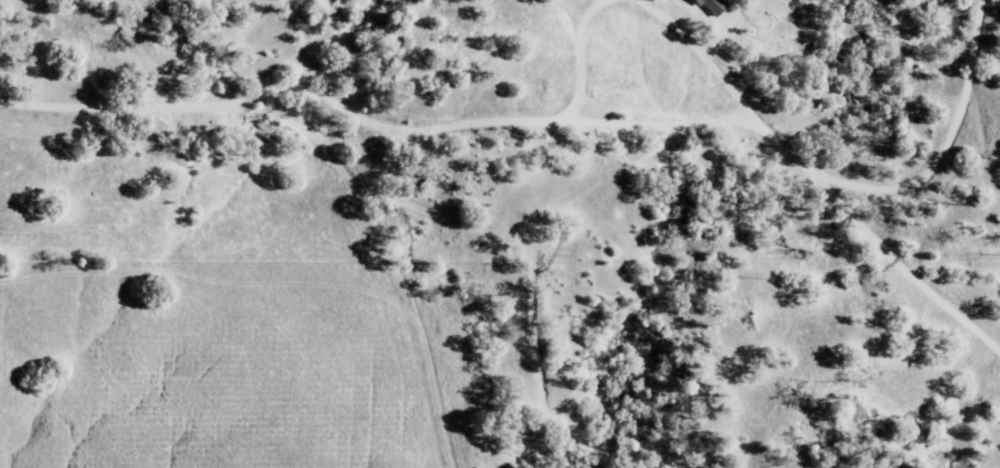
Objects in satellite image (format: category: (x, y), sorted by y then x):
building: (715, 7)
road: (709, 56)
road: (584, 62)
road: (538, 120)
road: (942, 149)

